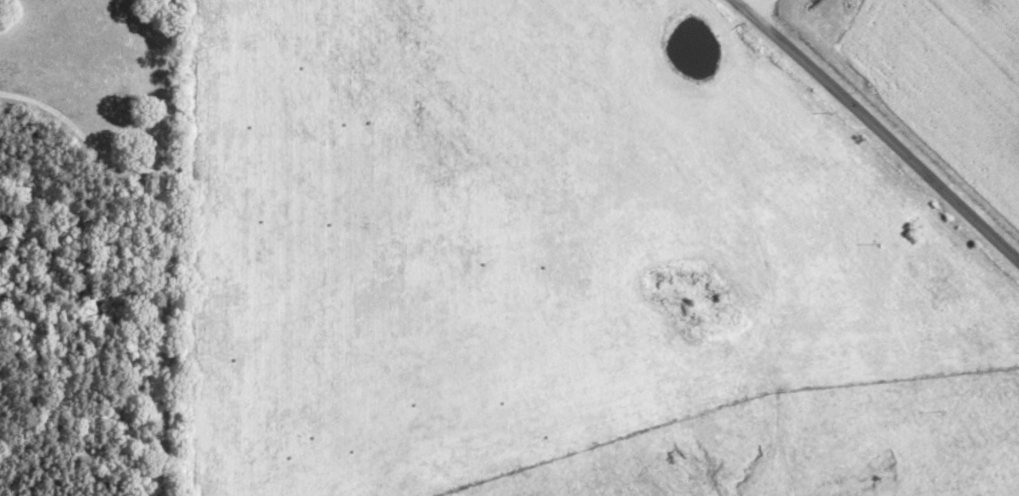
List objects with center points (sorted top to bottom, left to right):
road: (763, 9)
road: (878, 129)

